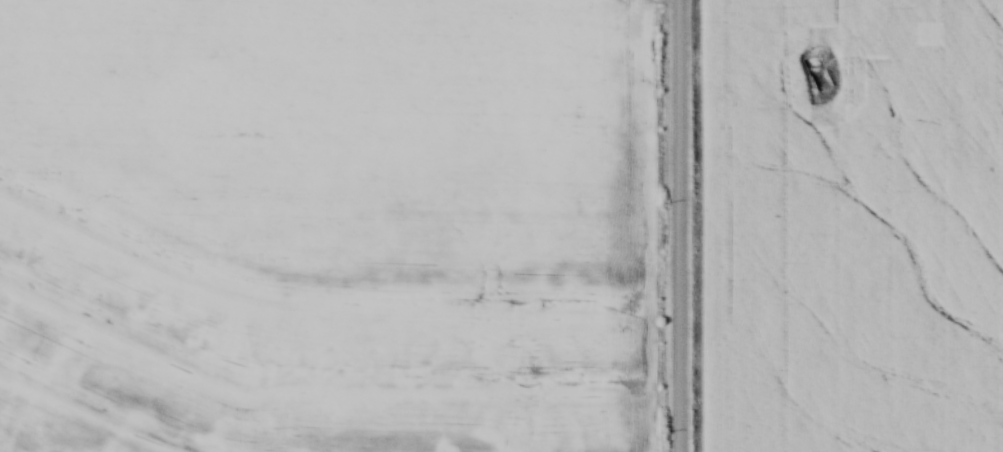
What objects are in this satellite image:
road: (682, 225)

